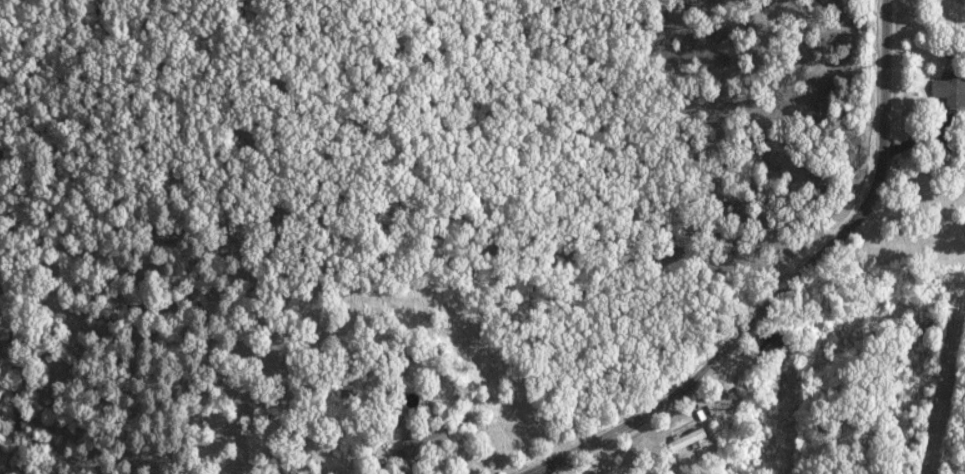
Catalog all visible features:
building: (948, 89)
road: (787, 285)
building: (691, 436)
building: (431, 438)
road: (452, 450)
road: (539, 472)
building: (615, 472)
building: (284, 473)

